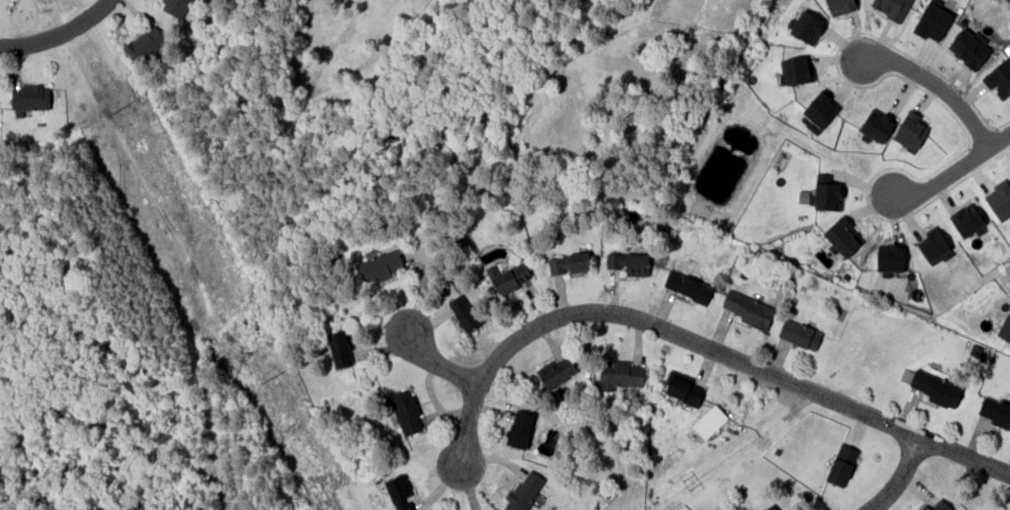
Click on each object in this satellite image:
dam: (521, 3)
building: (175, 6)
building: (839, 6)
building: (892, 8)
dam: (547, 19)
building: (932, 20)
building: (807, 27)
road: (57, 33)
building: (144, 44)
building: (969, 48)
building: (795, 71)
building: (999, 77)
road: (937, 85)
building: (29, 96)
power tower: (116, 110)
building: (818, 111)
building: (876, 124)
building: (910, 129)
road: (955, 168)
building: (827, 192)
building: (805, 197)
building: (999, 199)
building: (967, 220)
building: (842, 235)
building: (933, 245)
building: (889, 256)
building: (568, 262)
building: (628, 262)
building: (379, 266)
power tower: (1009, 266)
building: (510, 277)
building: (688, 286)
building: (747, 308)
building: (464, 312)
building: (1005, 327)
building: (799, 333)
road: (701, 340)
building: (340, 347)
building: (975, 350)
road: (439, 363)
building: (556, 371)
building: (619, 374)
power tower: (266, 379)
building: (683, 388)
building: (935, 388)
building: (994, 410)
building: (404, 411)
building: (520, 428)
building: (775, 451)
building: (841, 465)
road: (900, 479)
power tower: (687, 485)
building: (523, 491)
building: (399, 492)
building: (936, 506)
building: (770, 507)

